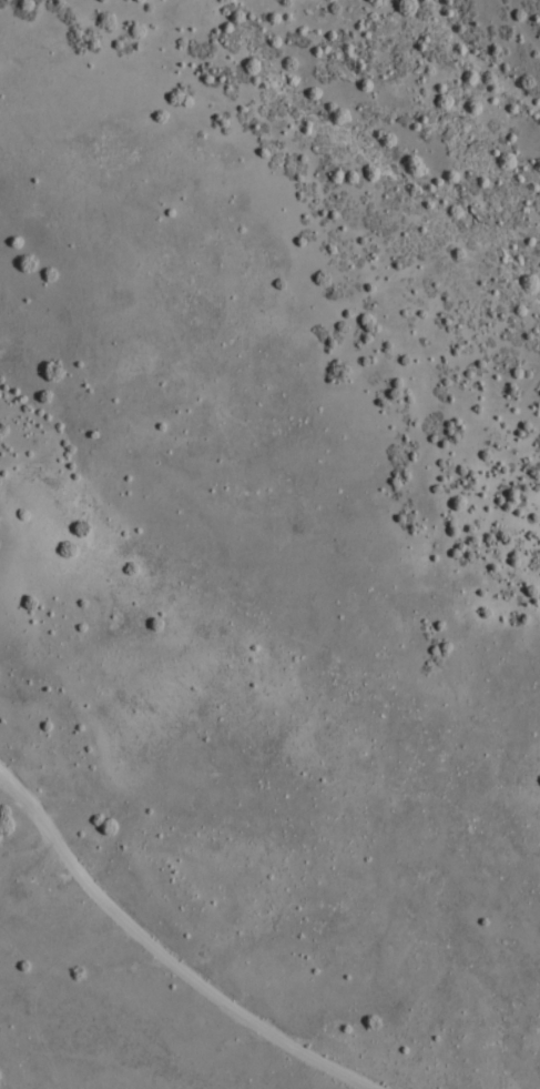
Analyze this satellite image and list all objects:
road: (137, 980)

